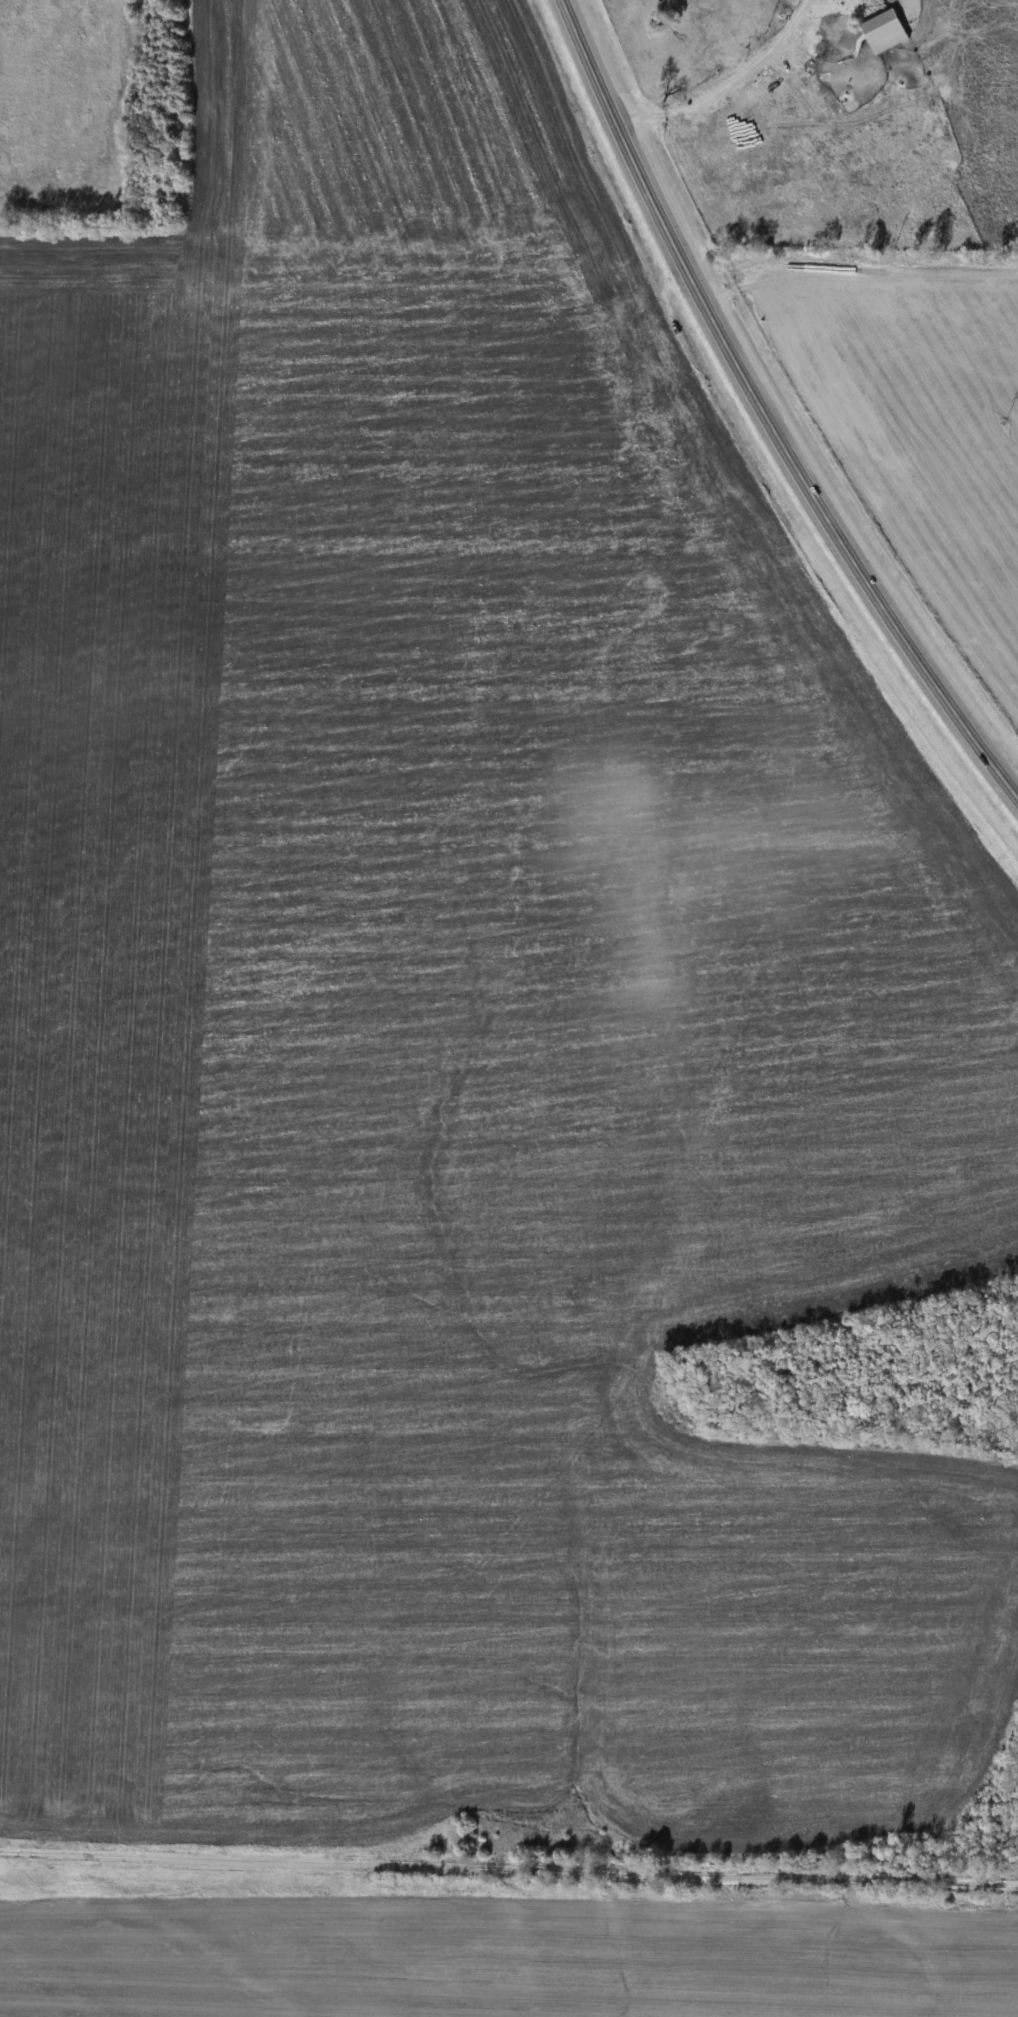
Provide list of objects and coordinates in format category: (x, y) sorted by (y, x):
building: (881, 32)
road: (728, 86)
road: (769, 405)
road: (508, 1880)

